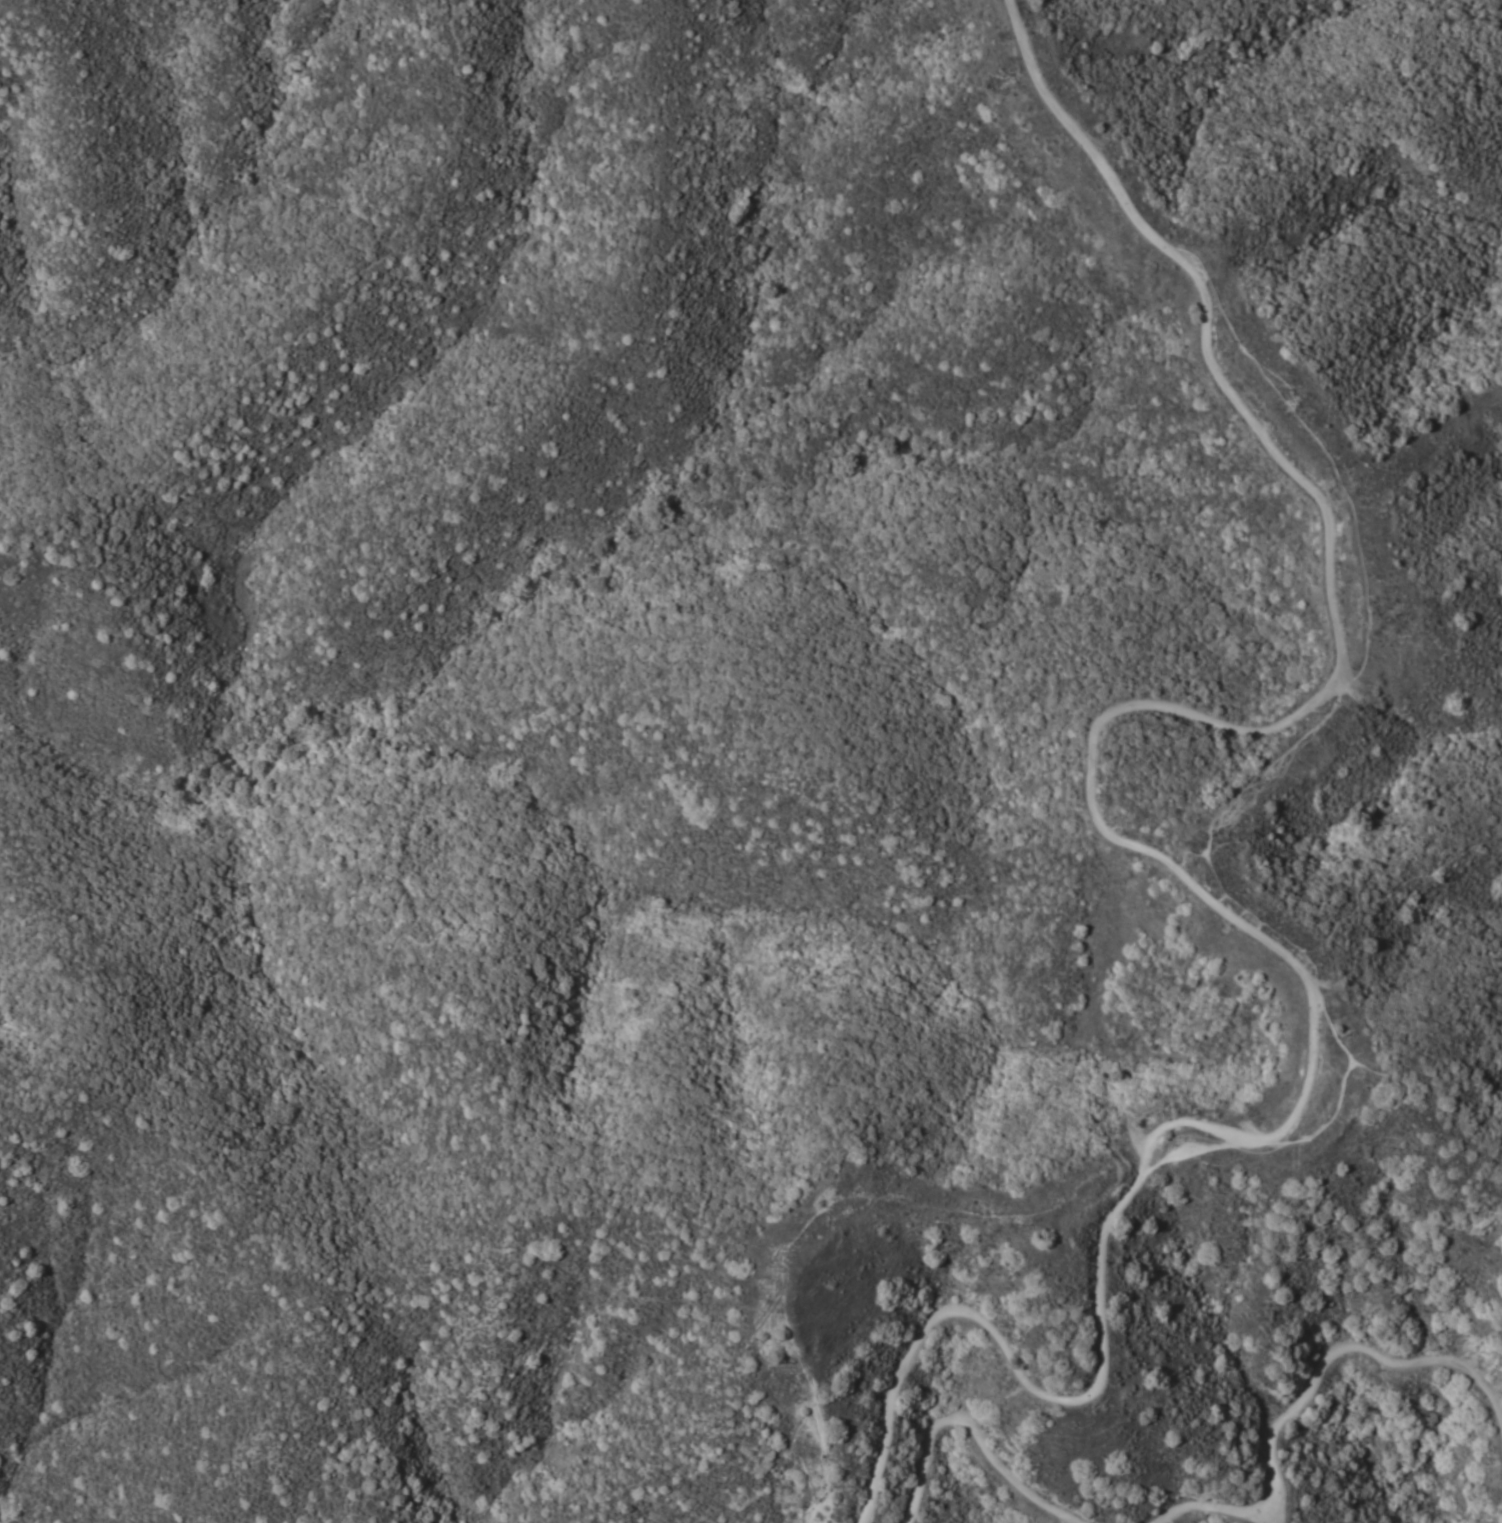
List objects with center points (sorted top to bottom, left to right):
park: (50, 59)
road: (1321, 448)
road: (1140, 848)
road: (1386, 884)
road: (1414, 1074)
road: (1307, 1387)
road: (971, 1427)

